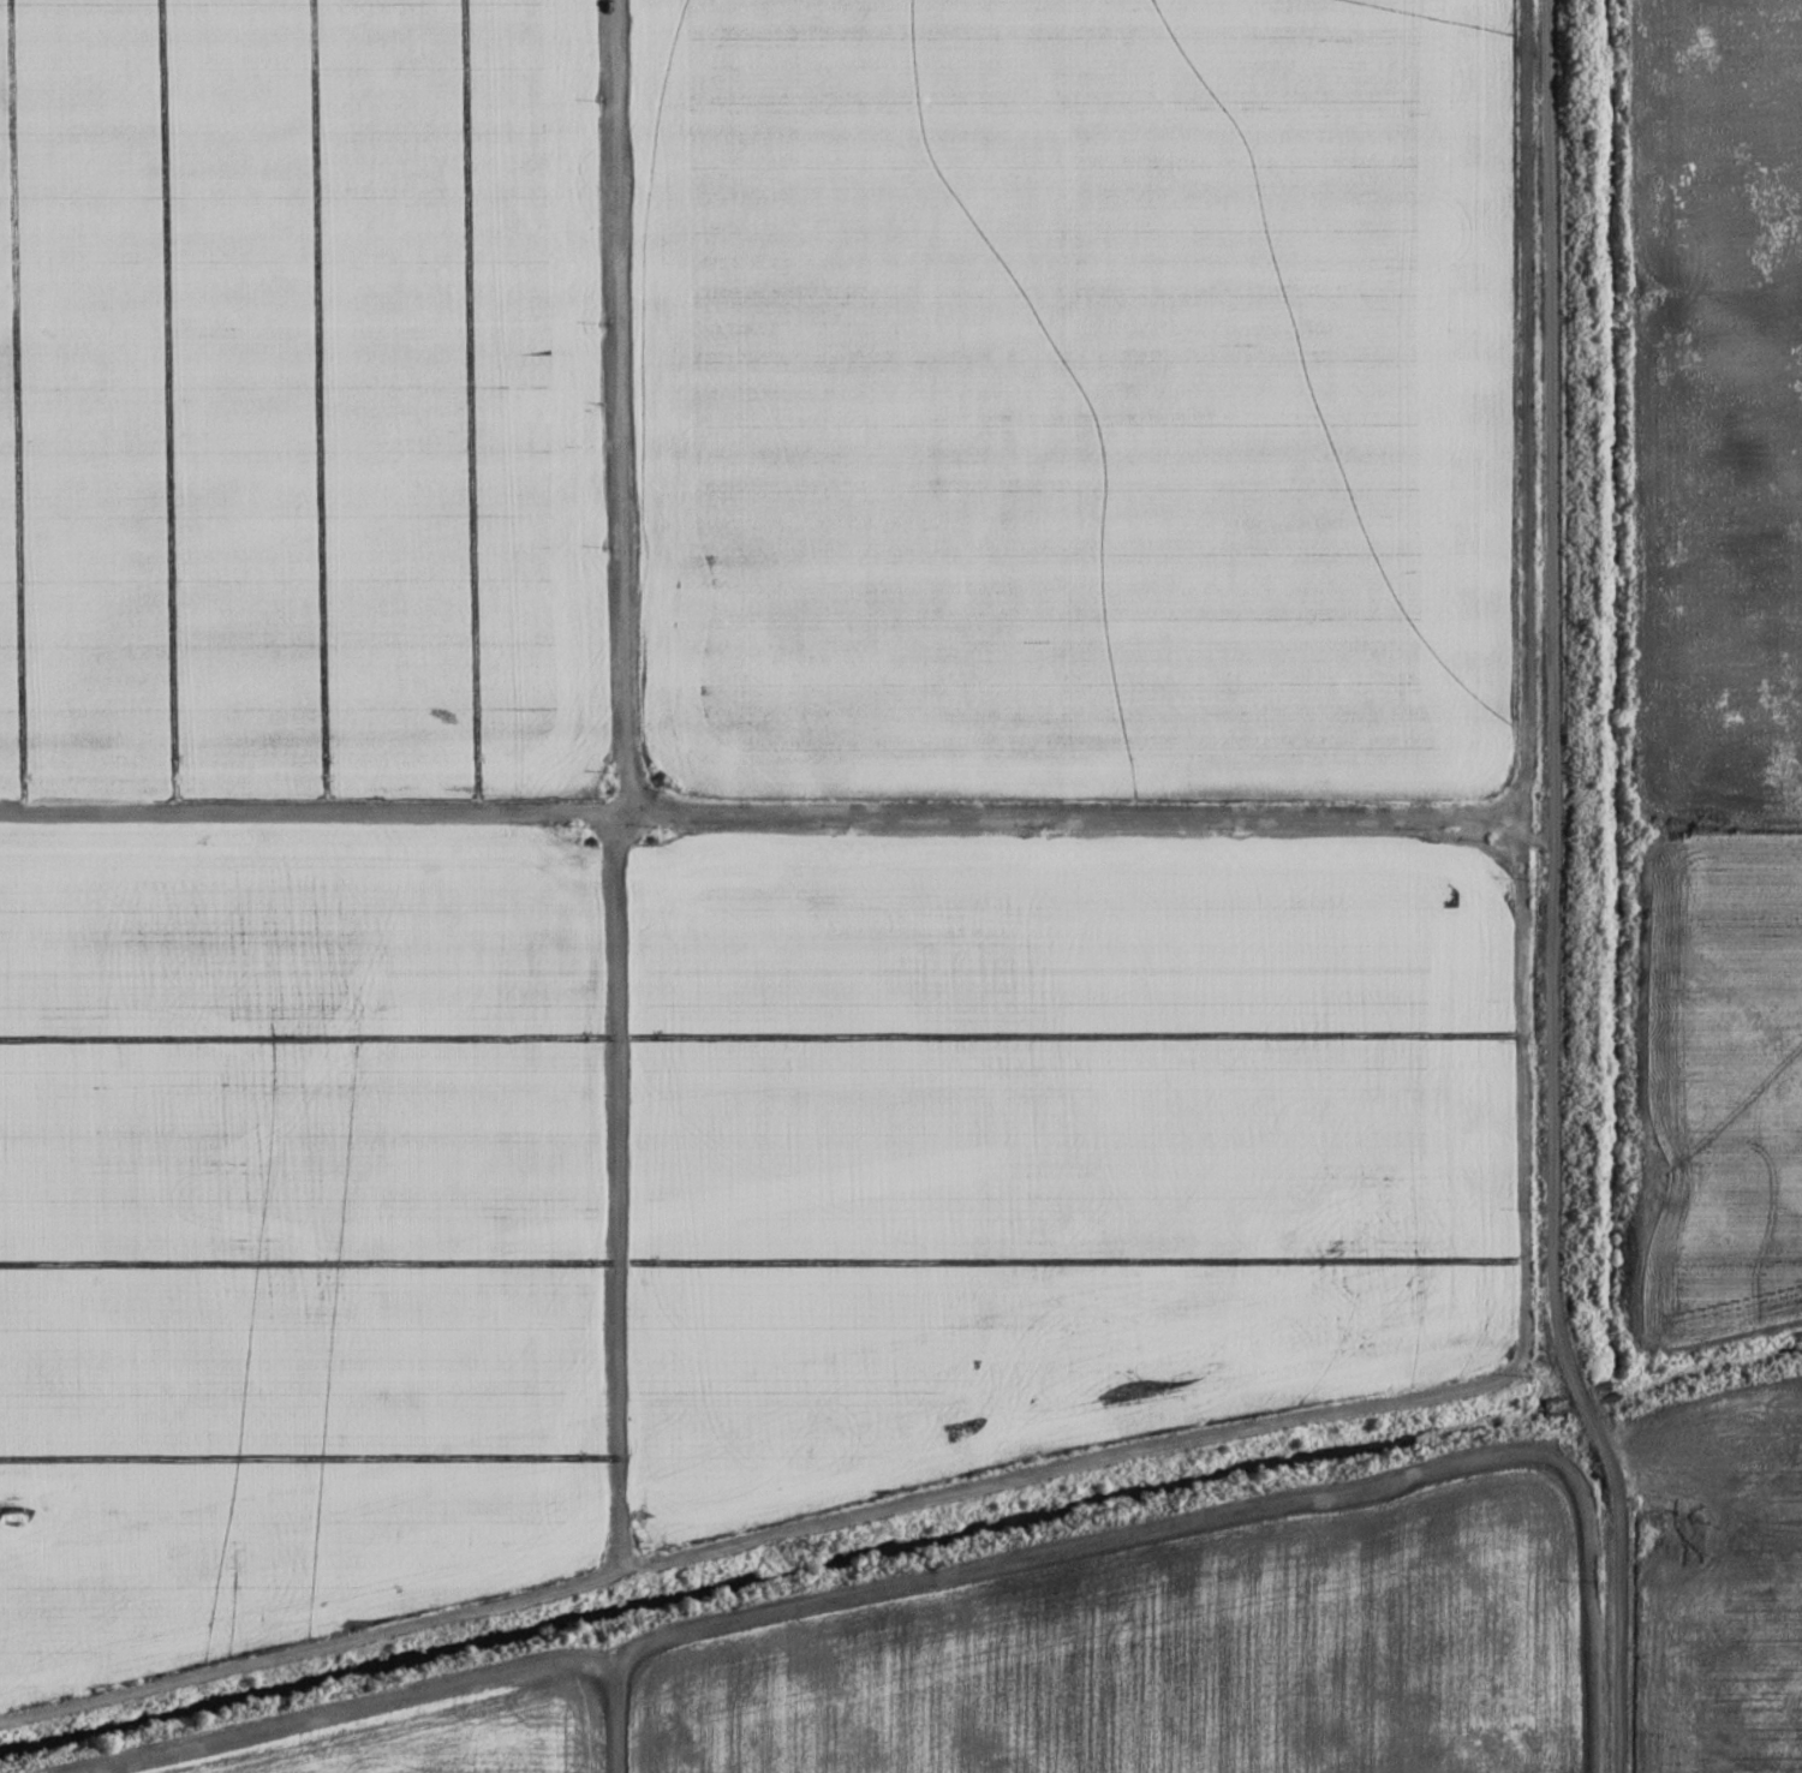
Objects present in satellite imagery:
road: (619, 405)
road: (777, 810)
road: (1549, 893)
road: (615, 1190)
road: (1533, 1362)
road: (1018, 1481)
road: (818, 1600)
road: (615, 1711)

